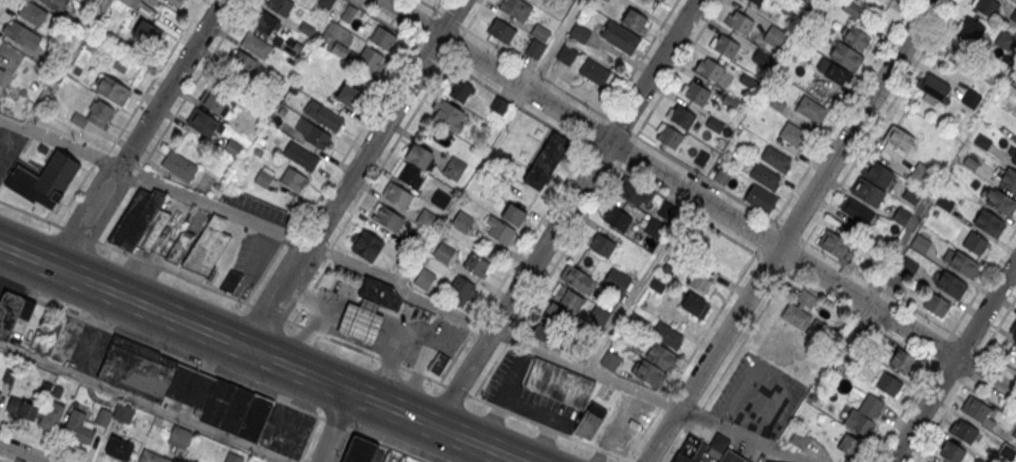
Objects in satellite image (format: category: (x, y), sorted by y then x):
building: (607, 0)
building: (662, 0)
building: (758, 2)
building: (800, 2)
building: (131, 3)
building: (174, 3)
building: (55, 4)
road: (437, 4)
road: (3, 5)
building: (280, 6)
building: (986, 6)
building: (516, 8)
building: (852, 9)
building: (32, 13)
building: (635, 21)
building: (740, 22)
building: (266, 23)
building: (971, 27)
building: (501, 30)
building: (579, 31)
building: (148, 32)
building: (541, 32)
building: (17, 33)
building: (619, 35)
building: (775, 35)
building: (855, 36)
building: (383, 38)
road: (553, 44)
building: (958, 44)
building: (256, 45)
building: (724, 45)
building: (535, 48)
building: (566, 53)
building: (846, 55)
building: (761, 57)
road: (512, 58)
road: (640, 58)
building: (371, 59)
road: (64, 64)
building: (241, 64)
road: (677, 67)
building: (710, 69)
building: (595, 73)
building: (986, 74)
building: (2, 75)
building: (1015, 81)
road: (483, 83)
building: (934, 86)
road: (148, 87)
road: (191, 87)
building: (112, 90)
building: (460, 92)
building: (695, 92)
building: (349, 95)
building: (970, 97)
building: (216, 98)
building: (499, 106)
building: (810, 107)
road: (843, 111)
building: (94, 115)
building: (680, 116)
building: (327, 117)
building: (448, 117)
road: (879, 120)
building: (203, 123)
road: (140, 133)
building: (794, 134)
building: (669, 135)
building: (899, 138)
building: (319, 139)
building: (982, 141)
parking lot: (10, 147)
building: (301, 155)
building: (418, 155)
road: (342, 159)
building: (775, 159)
building: (1014, 159)
road: (383, 160)
building: (546, 161)
building: (969, 162)
building: (179, 165)
building: (454, 167)
building: (410, 173)
building: (877, 173)
road: (355, 174)
building: (922, 174)
building: (723, 175)
building: (765, 176)
building: (264, 178)
road: (705, 178)
building: (44, 179)
building: (1008, 179)
building: (293, 180)
building: (868, 191)
building: (397, 193)
building: (636, 194)
building: (912, 194)
road: (699, 196)
building: (439, 198)
building: (760, 198)
building: (1001, 202)
building: (944, 203)
building: (666, 211)
building: (857, 211)
road: (564, 212)
building: (513, 213)
building: (387, 218)
building: (427, 219)
building: (617, 219)
building: (141, 221)
building: (462, 221)
building: (989, 222)
building: (499, 228)
building: (654, 228)
road: (788, 231)
building: (601, 243)
building: (920, 243)
building: (975, 243)
building: (834, 244)
building: (208, 245)
building: (366, 246)
building: (182, 247)
building: (444, 253)
parking lot: (253, 260)
building: (960, 262)
building: (908, 264)
building: (477, 265)
road: (554, 265)
road: (862, 277)
building: (577, 279)
building: (618, 279)
building: (424, 280)
building: (231, 281)
building: (700, 282)
building: (949, 284)
parking lot: (11, 287)
road: (408, 287)
building: (381, 291)
building: (461, 292)
road: (24, 294)
building: (567, 298)
building: (936, 304)
building: (695, 305)
building: (803, 305)
gas station: (361, 310)
building: (13, 312)
building: (599, 315)
building: (360, 320)
building: (549, 323)
road: (999, 325)
road: (314, 334)
building: (1012, 334)
building: (668, 335)
building: (567, 344)
road: (943, 344)
road: (260, 352)
road: (983, 352)
building: (661, 356)
building: (903, 360)
road: (953, 360)
building: (610, 362)
building: (438, 365)
building: (649, 374)
road: (237, 383)
building: (560, 383)
building: (889, 384)
building: (184, 387)
building: (0, 393)
parking lot: (527, 393)
parking lot: (758, 396)
road: (142, 403)
building: (22, 408)
building: (976, 411)
building: (123, 412)
building: (51, 416)
building: (102, 416)
building: (589, 422)
building: (859, 422)
building: (79, 426)
road: (333, 427)
building: (964, 431)
building: (1014, 431)
building: (179, 436)
building: (800, 438)
building: (849, 445)
road: (345, 446)
building: (119, 448)
building: (361, 450)
building: (701, 450)
building: (951, 451)
road: (22, 453)
building: (151, 457)
building: (233, 457)
building: (732, 457)
gas station: (775, 458)
road: (4, 460)
building: (769, 461)
building: (932, 461)

